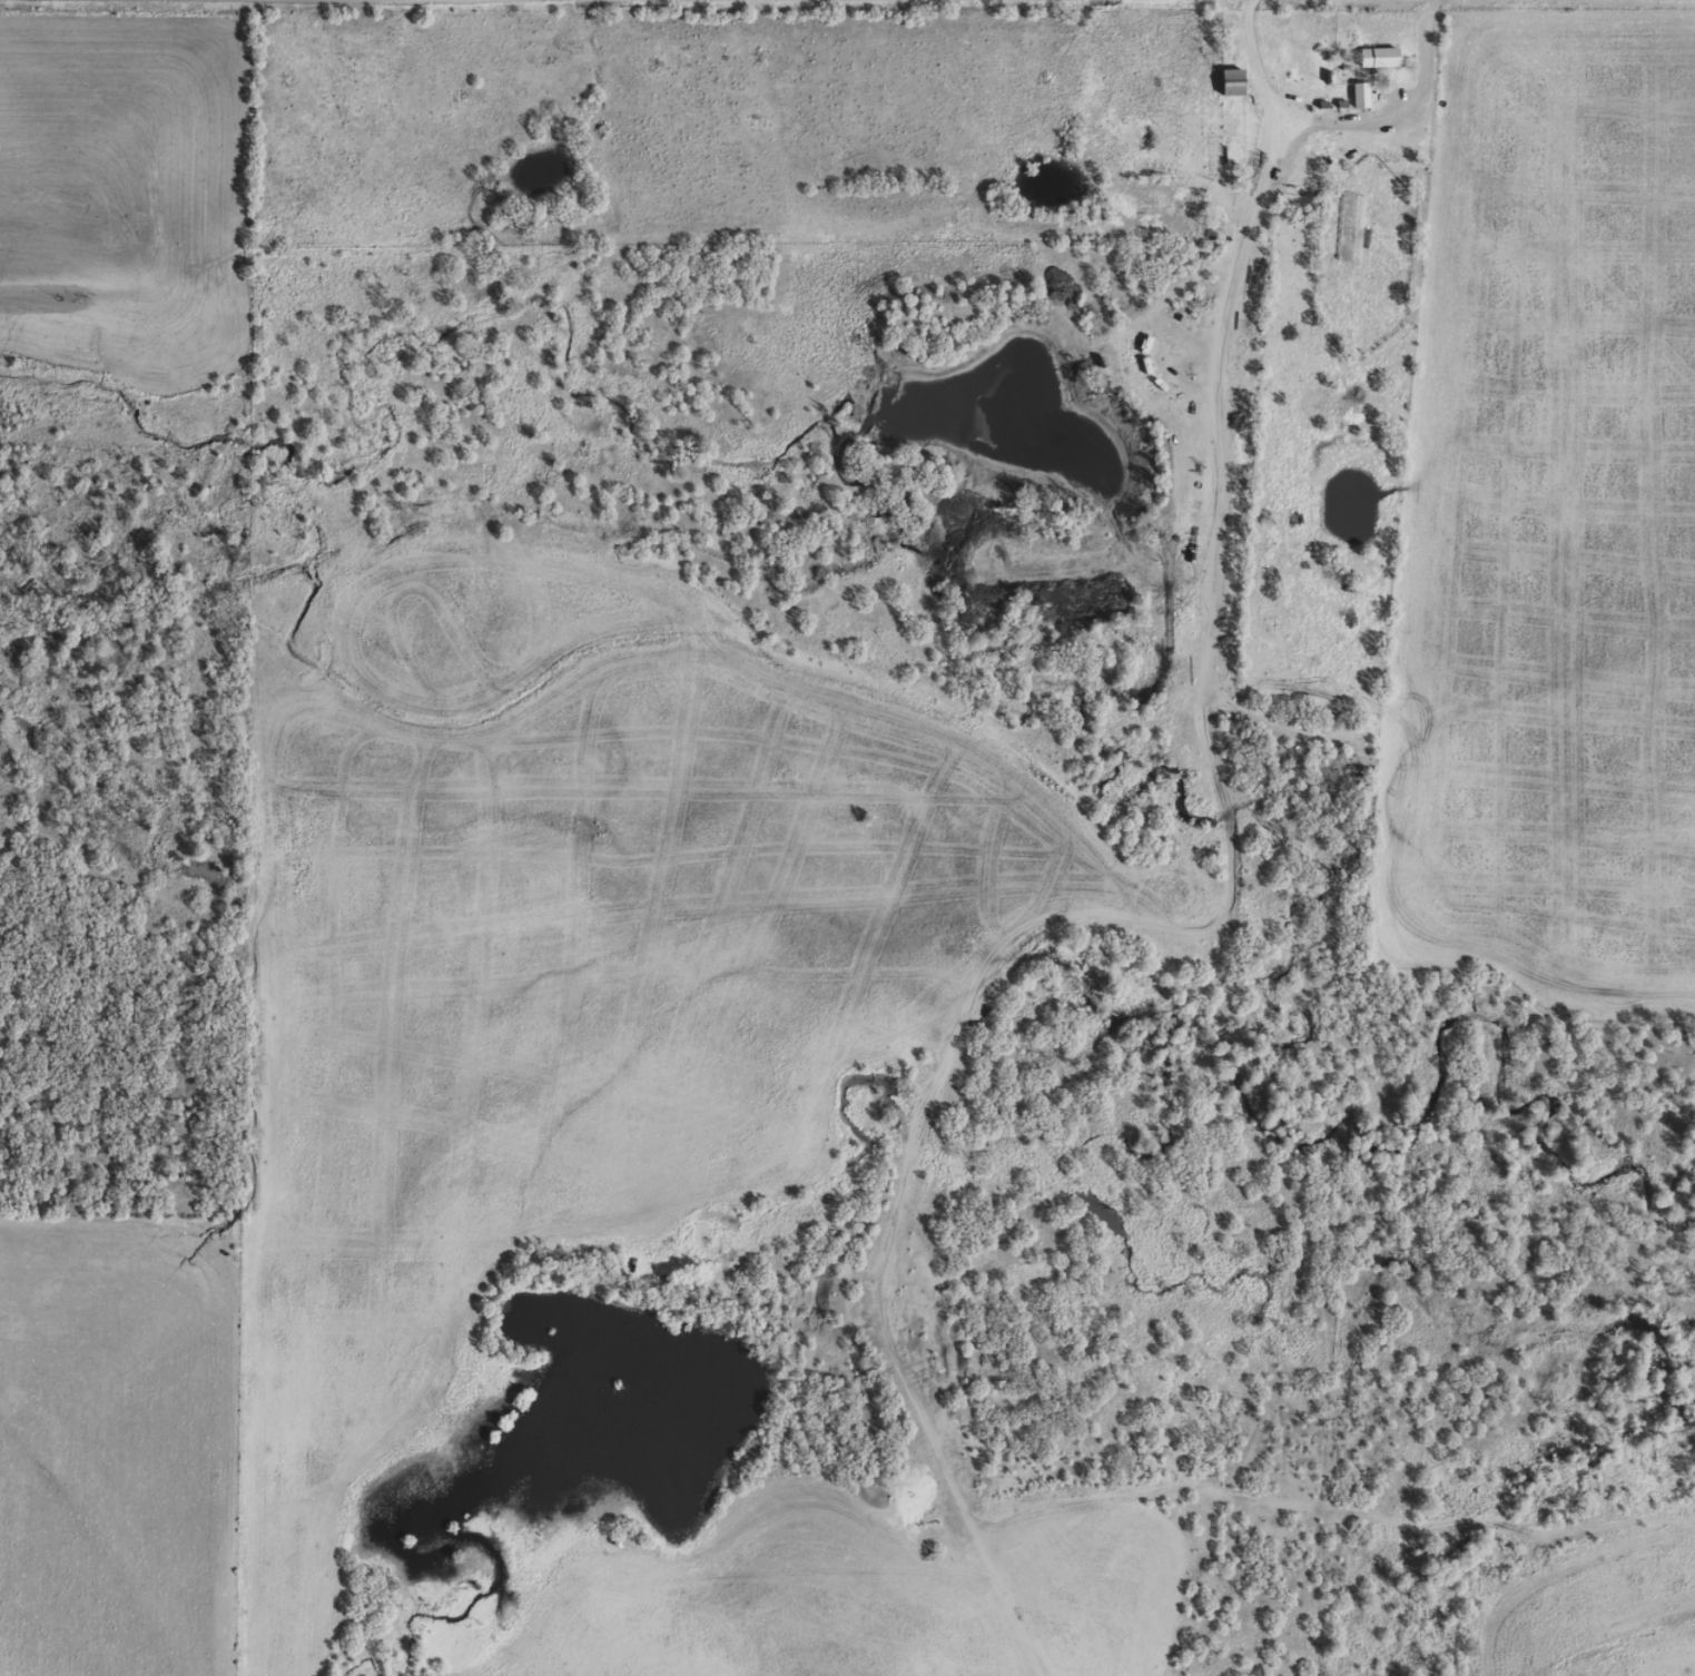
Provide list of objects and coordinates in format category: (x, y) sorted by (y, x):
building: (1378, 58)
building: (1231, 82)
building: (1360, 96)
road: (1244, 371)
road: (900, 1167)

